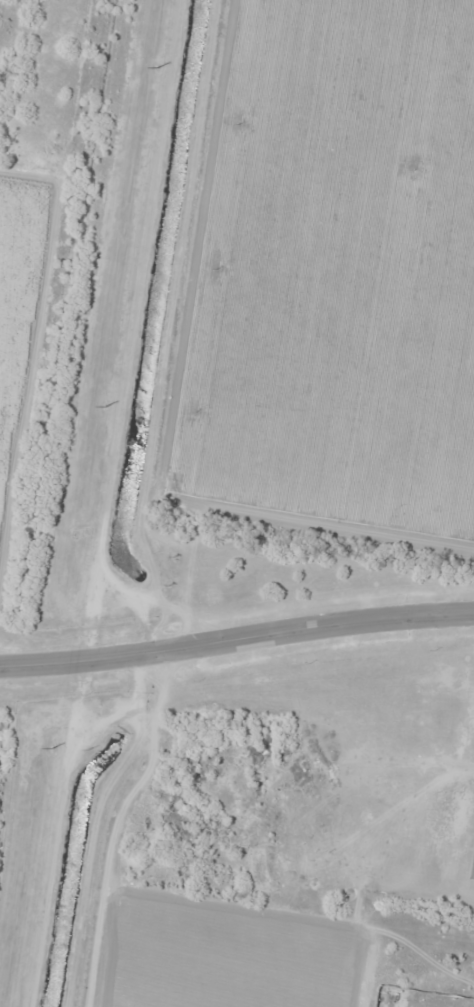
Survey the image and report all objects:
road: (236, 638)
parking lot: (471, 874)

